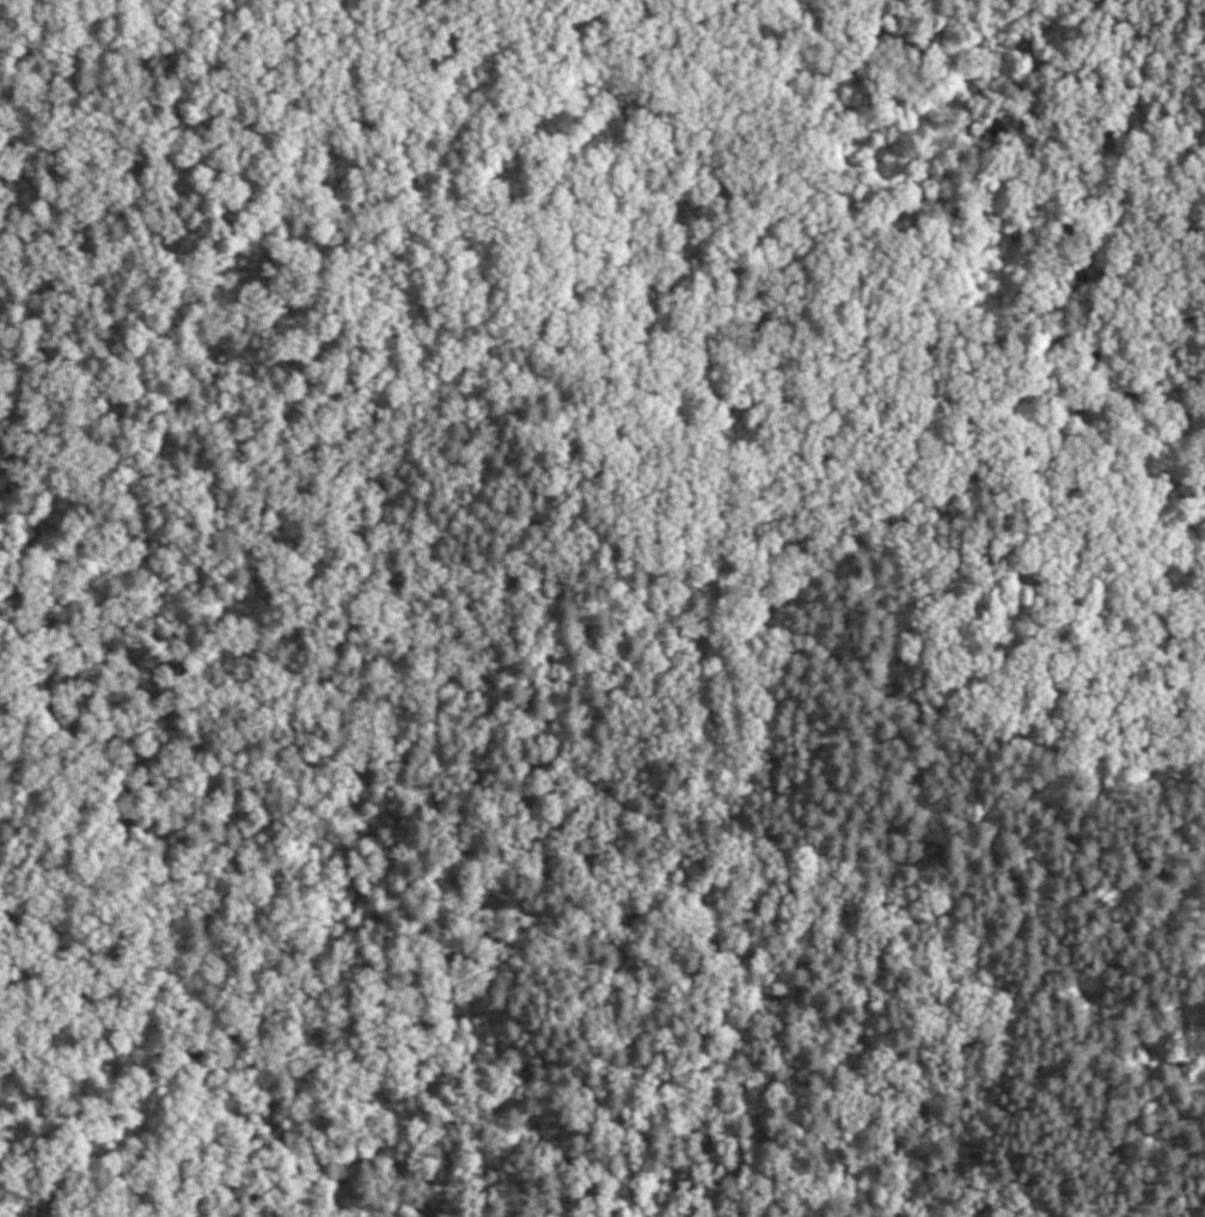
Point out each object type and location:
road: (964, 122)
road: (1126, 281)
road: (1198, 332)
road: (1200, 453)
road: (765, 696)

